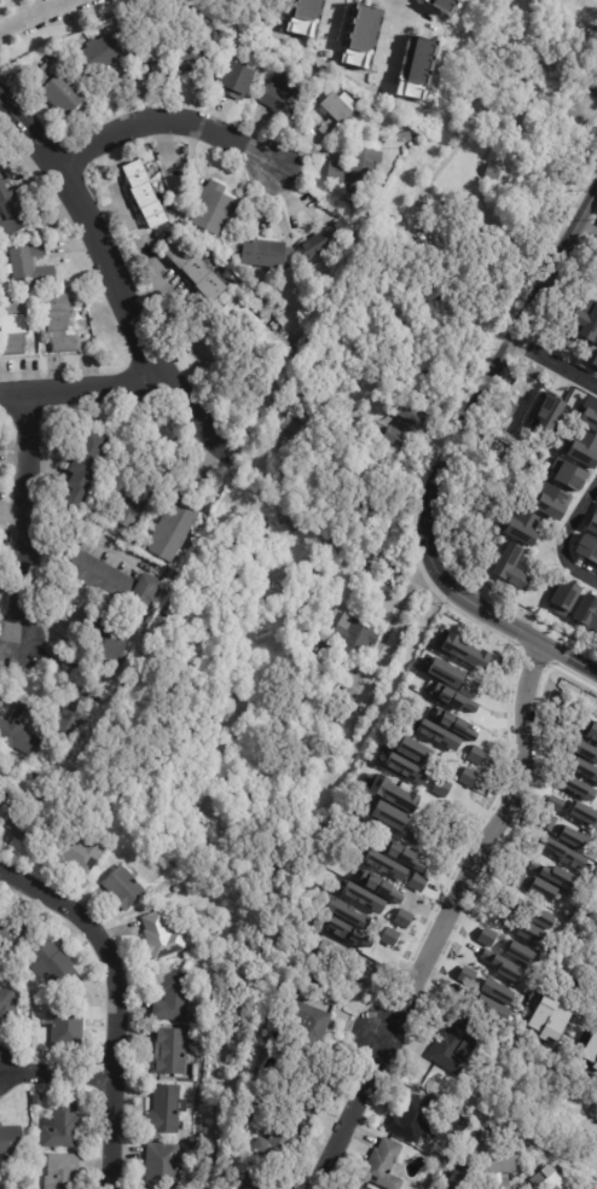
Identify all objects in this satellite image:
road: (406, 4)
building: (442, 6)
road: (415, 12)
road: (35, 16)
road: (334, 17)
building: (303, 18)
road: (516, 31)
building: (360, 33)
road: (395, 41)
building: (195, 48)
building: (100, 53)
building: (50, 57)
building: (153, 62)
building: (419, 66)
building: (238, 81)
building: (290, 89)
building: (60, 92)
building: (335, 115)
road: (167, 120)
building: (406, 138)
building: (489, 169)
building: (358, 175)
building: (145, 195)
building: (11, 210)
building: (216, 210)
park: (474, 213)
building: (326, 240)
building: (268, 255)
building: (31, 265)
building: (197, 272)
road: (116, 282)
building: (0, 290)
building: (587, 319)
building: (60, 324)
building: (15, 325)
building: (254, 330)
building: (595, 359)
road: (553, 362)
road: (493, 369)
building: (427, 375)
road: (81, 385)
building: (546, 413)
building: (589, 414)
building: (295, 420)
building: (406, 428)
building: (581, 449)
building: (419, 454)
road: (23, 457)
building: (87, 465)
building: (567, 474)
building: (255, 475)
building: (350, 476)
building: (268, 481)
building: (550, 501)
building: (132, 505)
building: (298, 521)
building: (592, 522)
building: (521, 527)
building: (174, 528)
road: (85, 536)
road: (563, 536)
road: (21, 541)
building: (587, 547)
building: (510, 567)
building: (100, 574)
building: (145, 592)
building: (564, 597)
road: (19, 604)
building: (586, 610)
road: (508, 623)
building: (343, 636)
building: (108, 638)
building: (464, 651)
building: (445, 673)
building: (453, 698)
building: (79, 702)
building: (453, 724)
building: (18, 730)
building: (436, 735)
building: (416, 749)
building: (582, 750)
building: (404, 767)
building: (584, 768)
building: (35, 776)
building: (466, 778)
building: (578, 788)
building: (393, 793)
building: (582, 812)
building: (388, 816)
road: (497, 823)
building: (28, 825)
building: (134, 833)
building: (570, 837)
building: (80, 854)
building: (564, 854)
building: (400, 859)
building: (383, 870)
building: (553, 874)
building: (248, 877)
building: (417, 883)
building: (124, 888)
building: (543, 889)
building: (381, 891)
road: (53, 900)
building: (365, 903)
building: (347, 912)
building: (537, 915)
building: (402, 918)
building: (531, 933)
building: (352, 934)
building: (164, 935)
building: (388, 936)
building: (13, 938)
building: (520, 951)
building: (53, 964)
building: (346, 965)
building: (468, 971)
building: (463, 980)
building: (250, 981)
building: (495, 992)
building: (174, 998)
road: (408, 1004)
building: (8, 1005)
building: (491, 1008)
building: (549, 1019)
building: (309, 1027)
building: (68, 1028)
building: (469, 1045)
building: (450, 1049)
building: (590, 1050)
building: (170, 1051)
road: (112, 1063)
road: (56, 1075)
road: (357, 1098)
building: (39, 1100)
building: (302, 1104)
building: (167, 1110)
building: (412, 1118)
building: (63, 1126)
building: (11, 1142)
building: (269, 1145)
building: (498, 1160)
building: (382, 1164)
building: (163, 1166)
building: (63, 1172)
building: (462, 1177)
building: (556, 1181)
building: (257, 1184)
building: (358, 1187)

